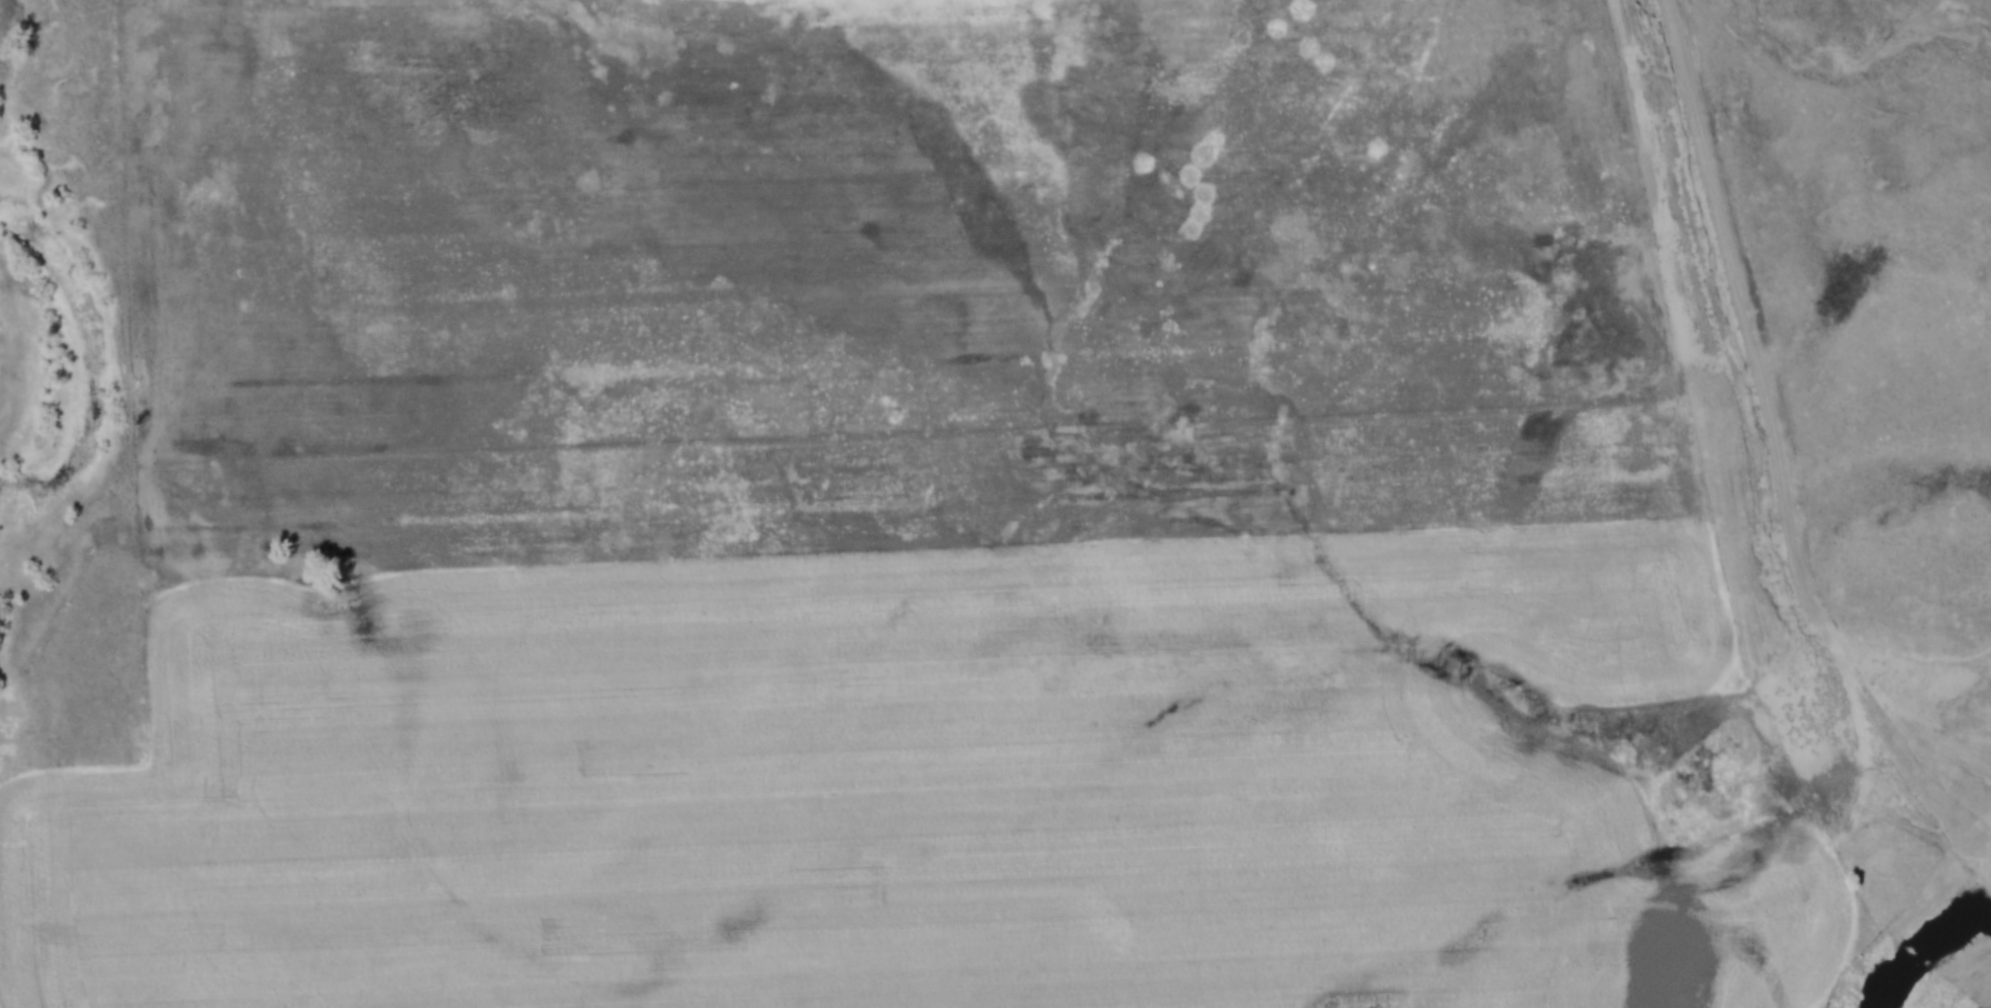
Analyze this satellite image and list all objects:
road: (1784, 452)
river: (1921, 942)

